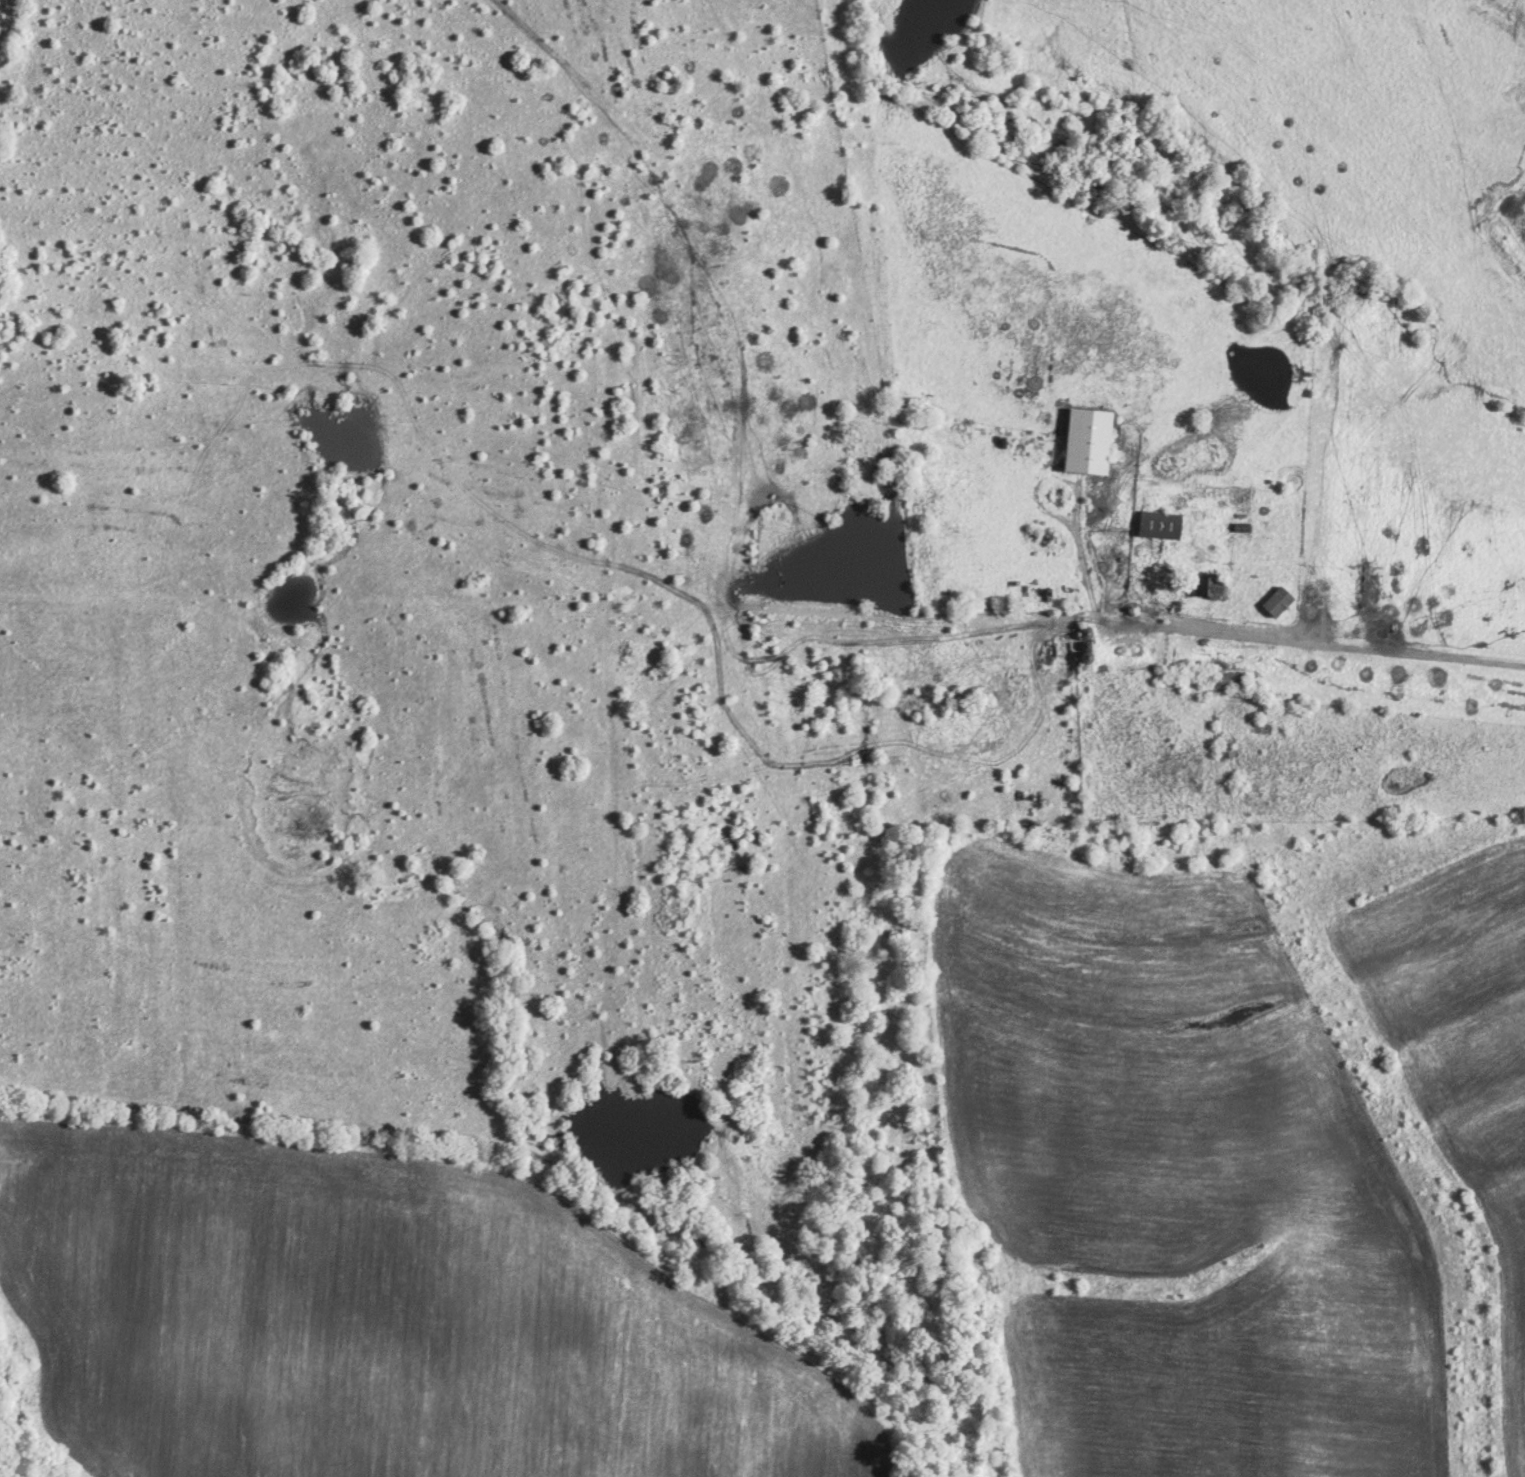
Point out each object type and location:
building: (1085, 441)
building: (1158, 523)
building: (1207, 585)
building: (1276, 600)
road: (1353, 643)
building: (1061, 648)
building: (1229, 677)
building: (1228, 747)

